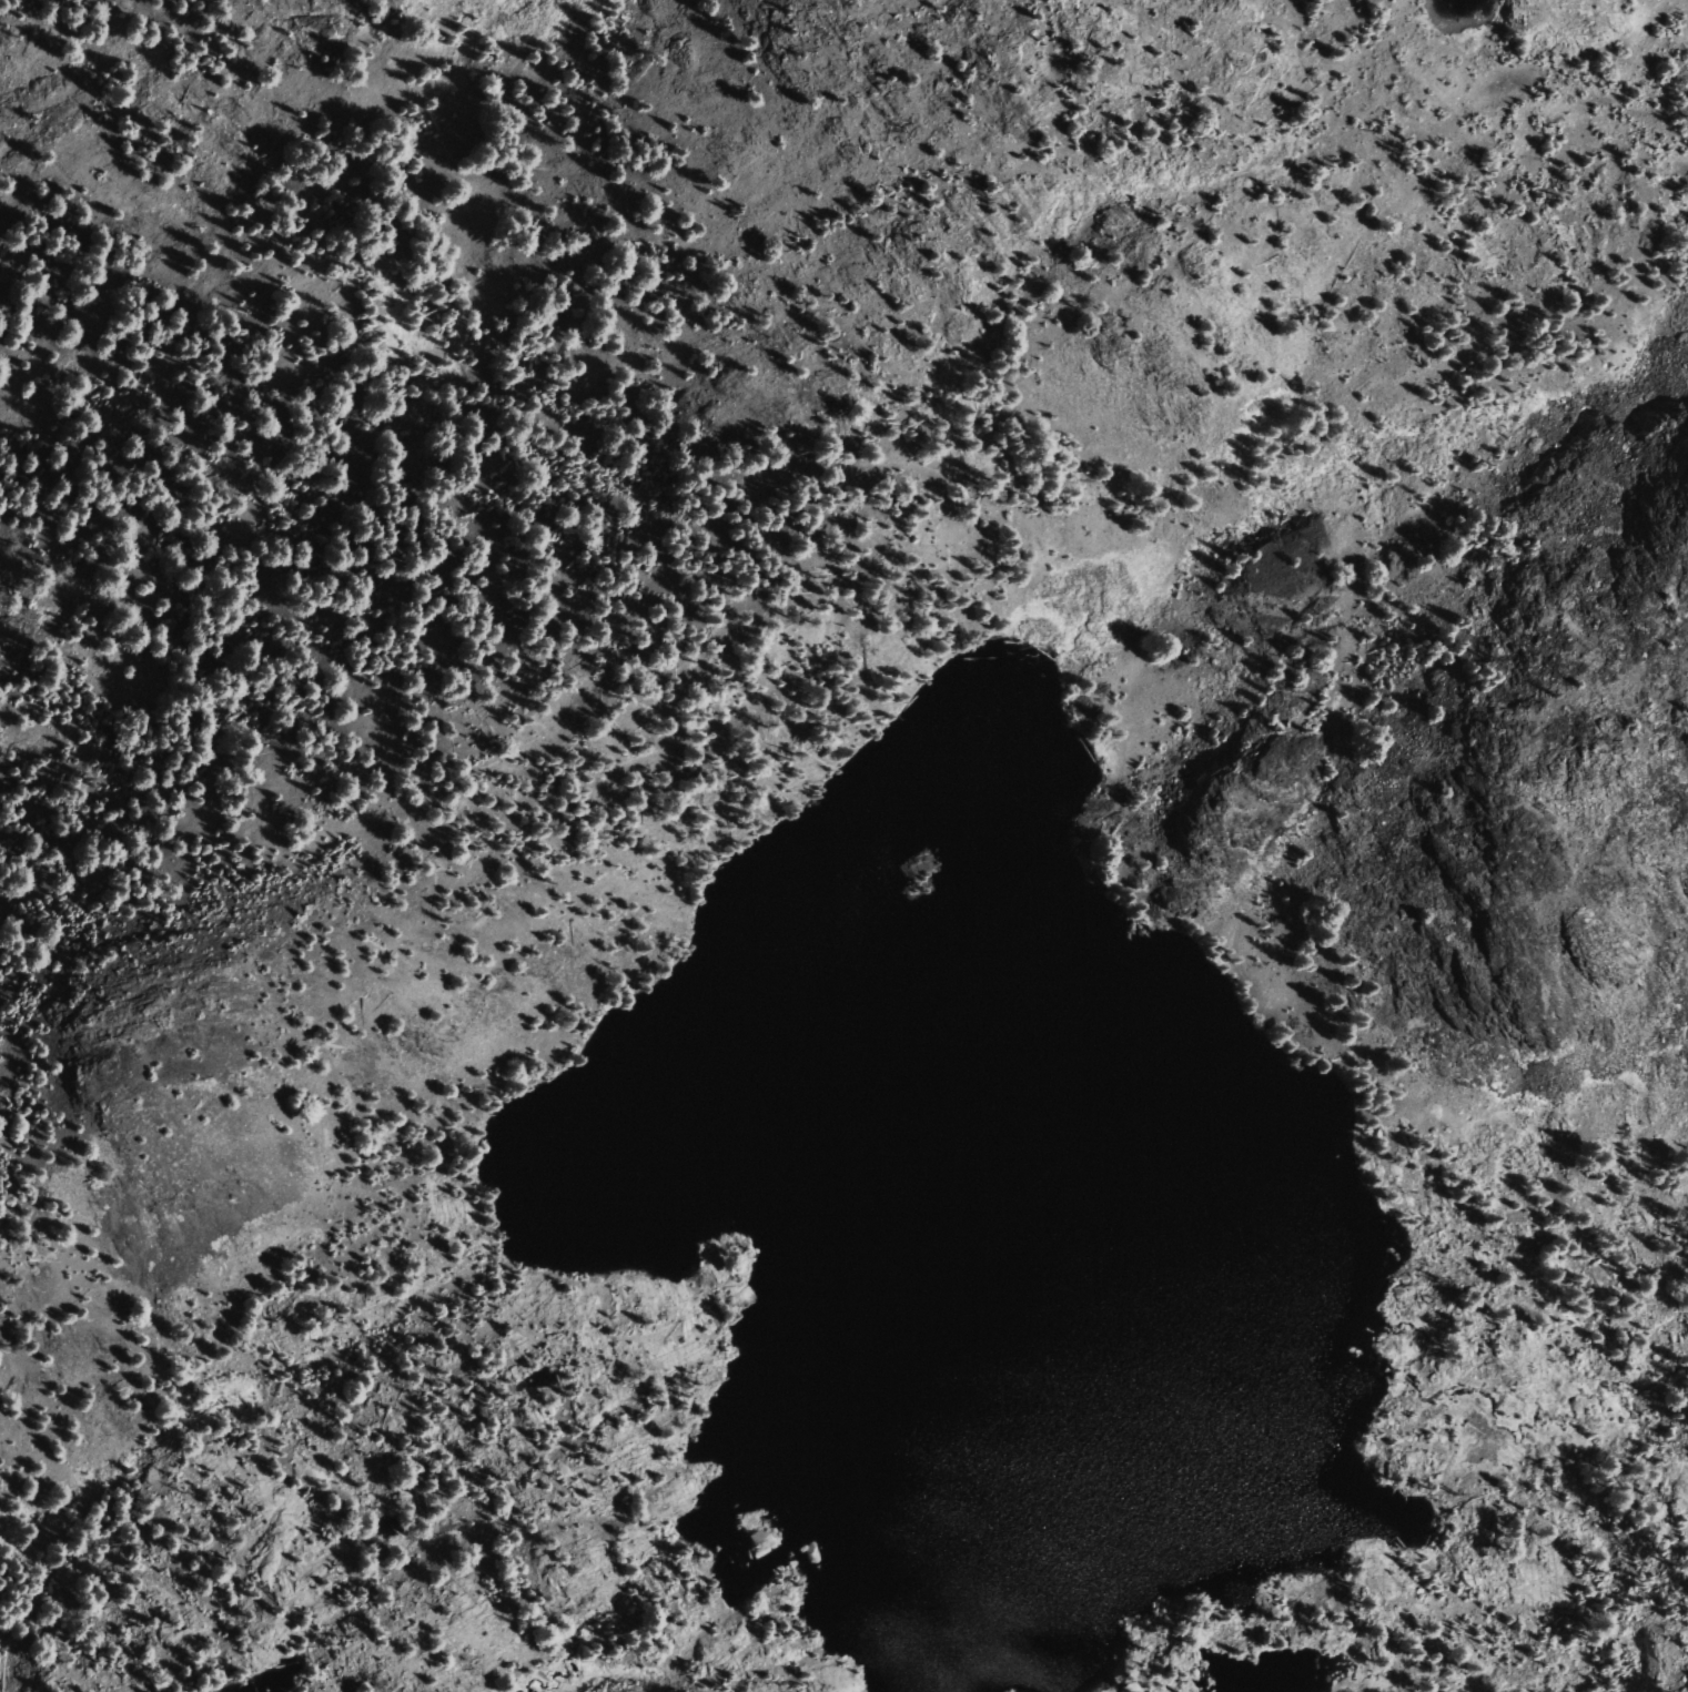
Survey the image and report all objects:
road: (771, 474)
road: (1189, 658)
road: (502, 1103)

